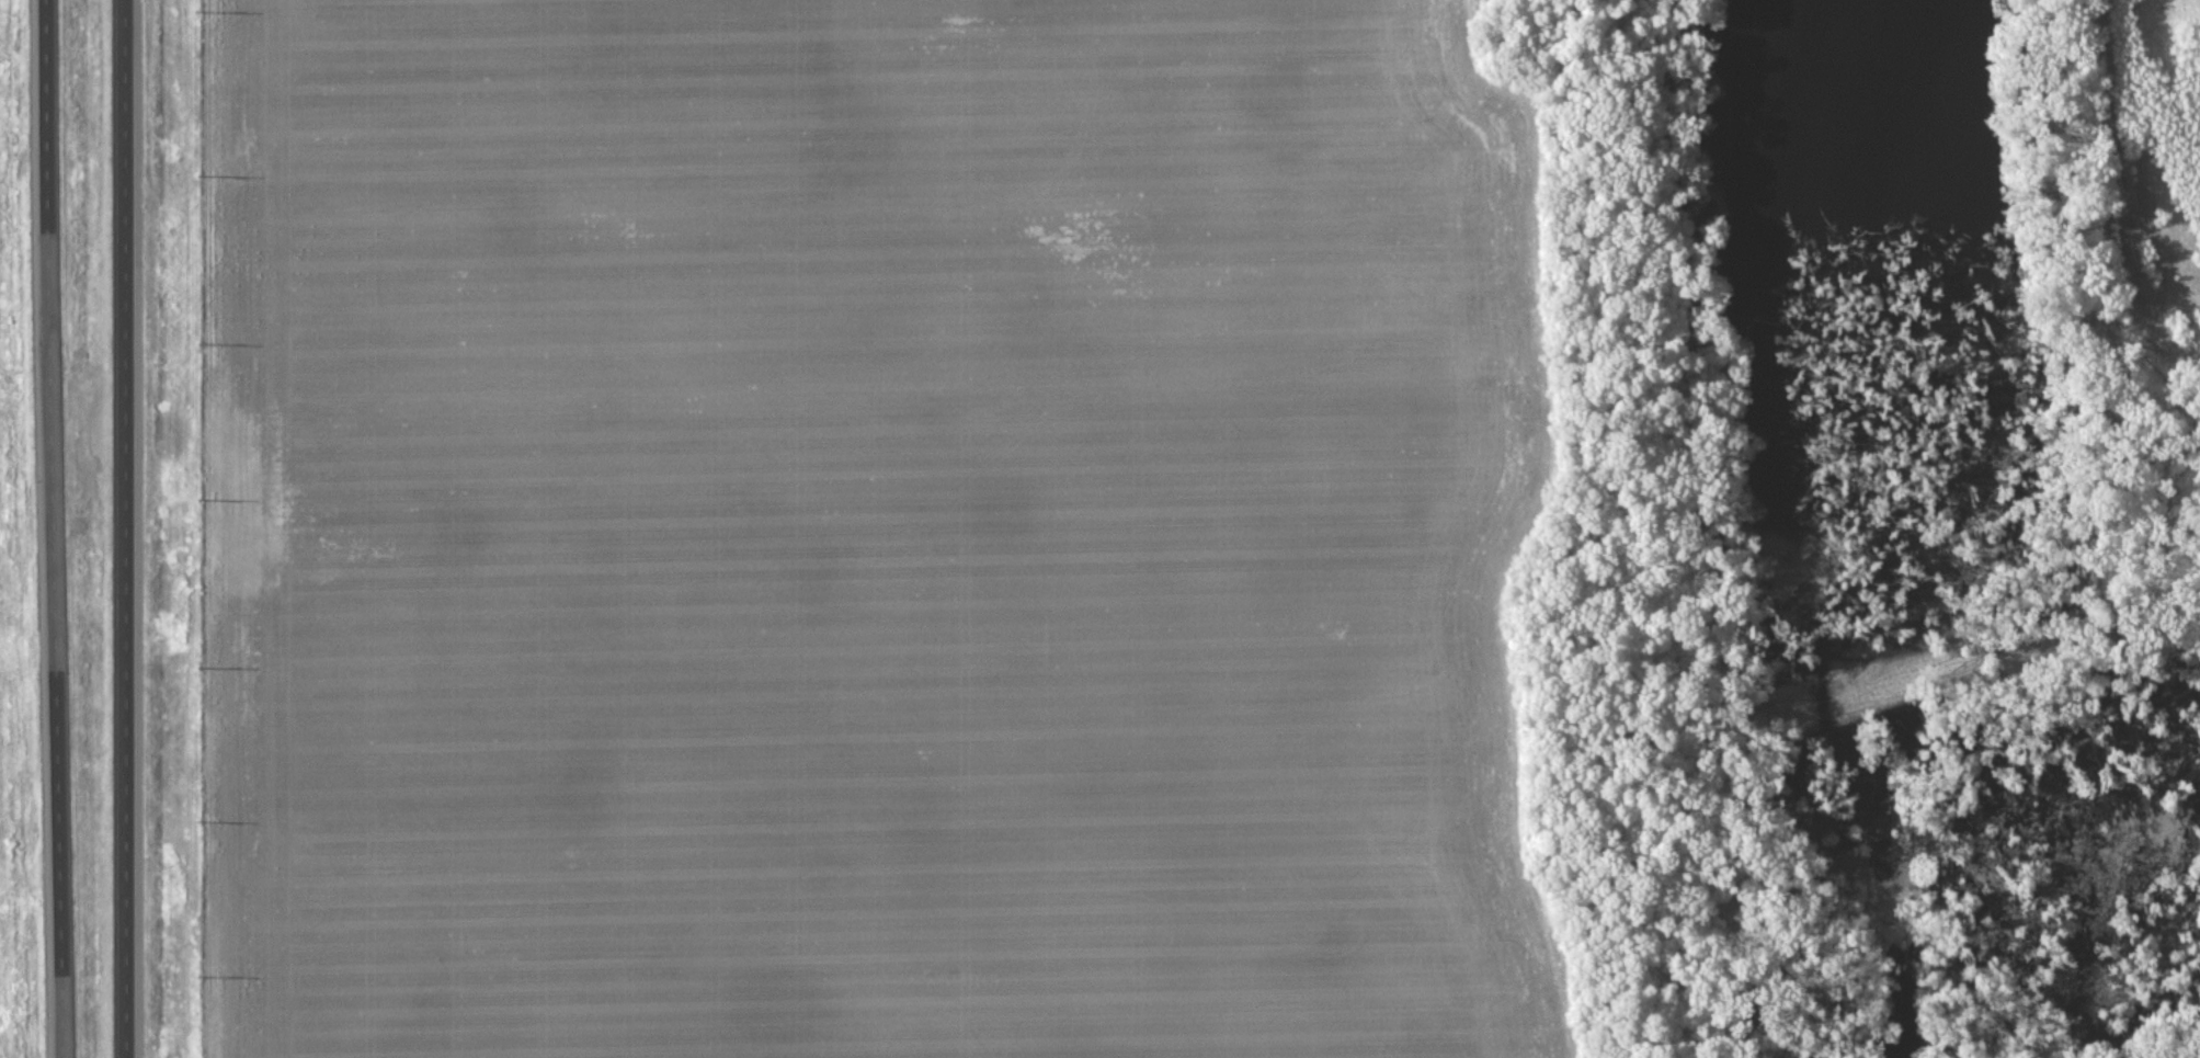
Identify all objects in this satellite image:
road: (50, 528)
road: (125, 528)

